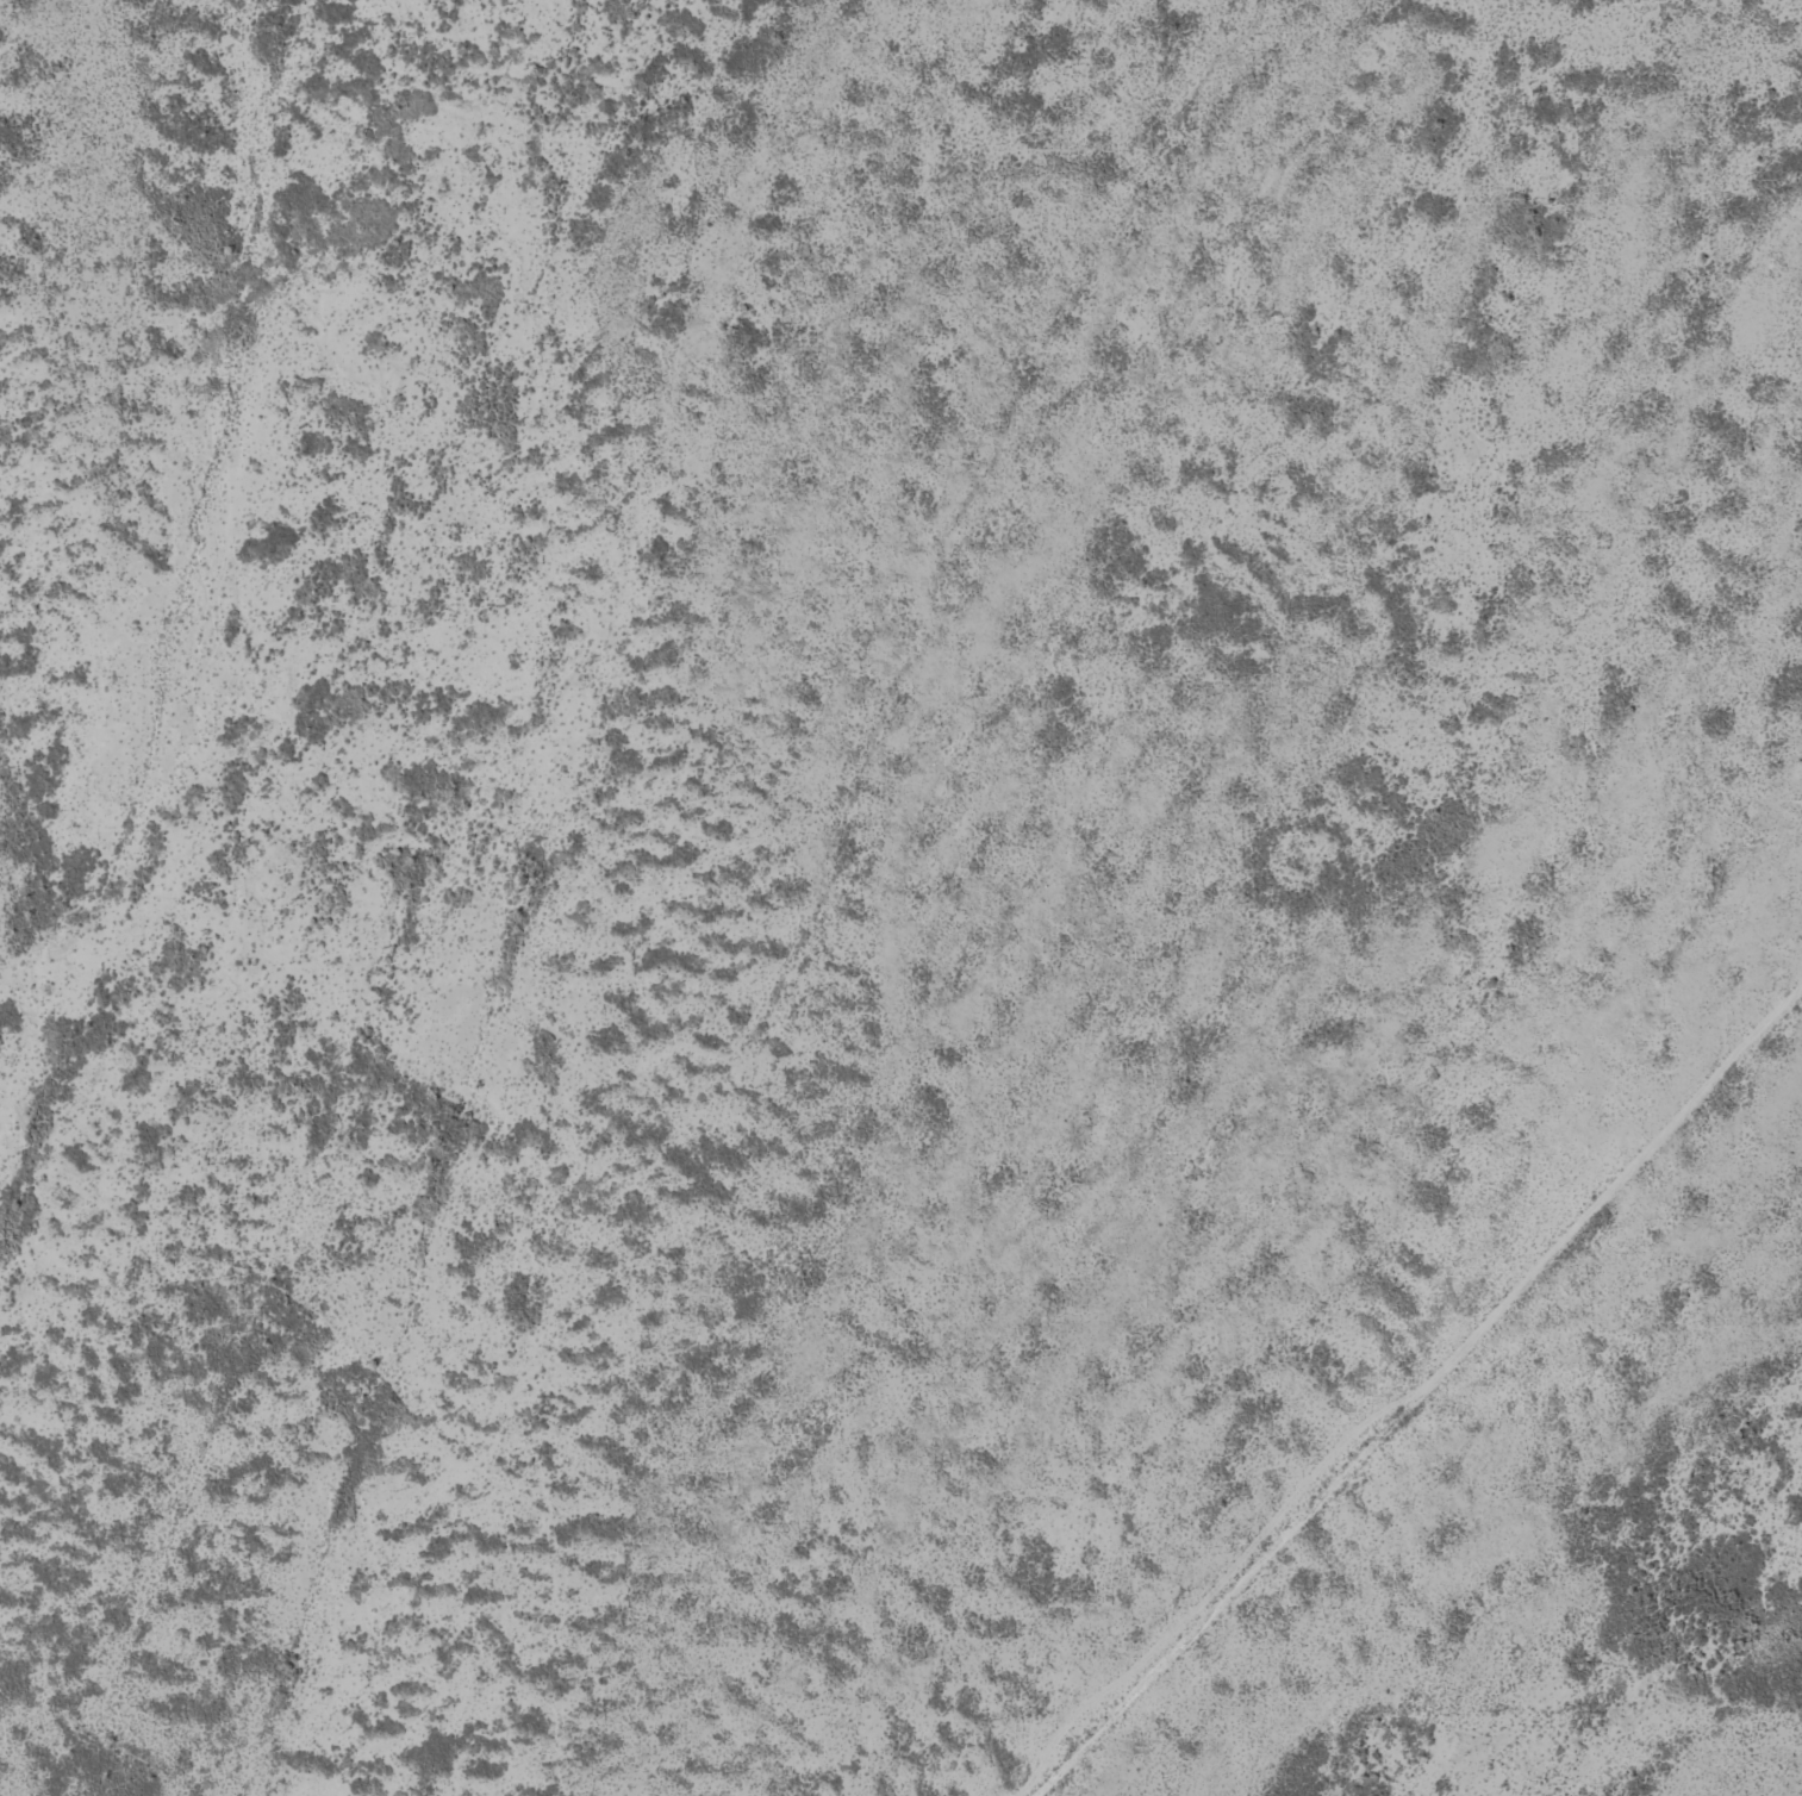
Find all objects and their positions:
road: (555, 871)

